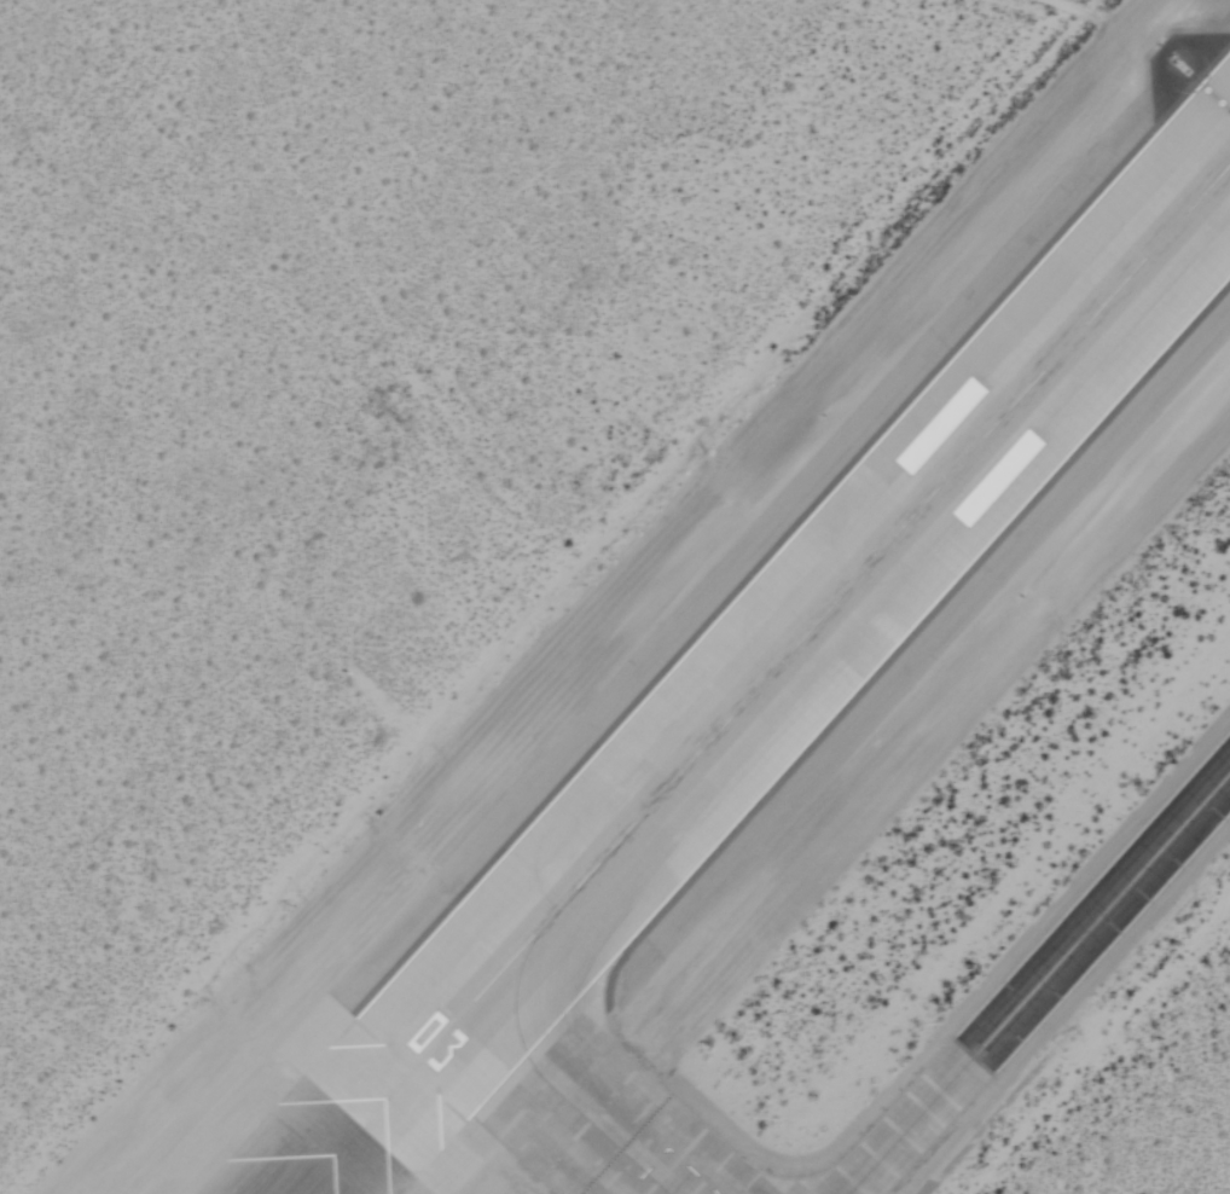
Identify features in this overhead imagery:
airport runway: (846, 586)
airport: (615, 597)
airport taxiway: (1038, 983)
airport taxiway: (562, 1102)

